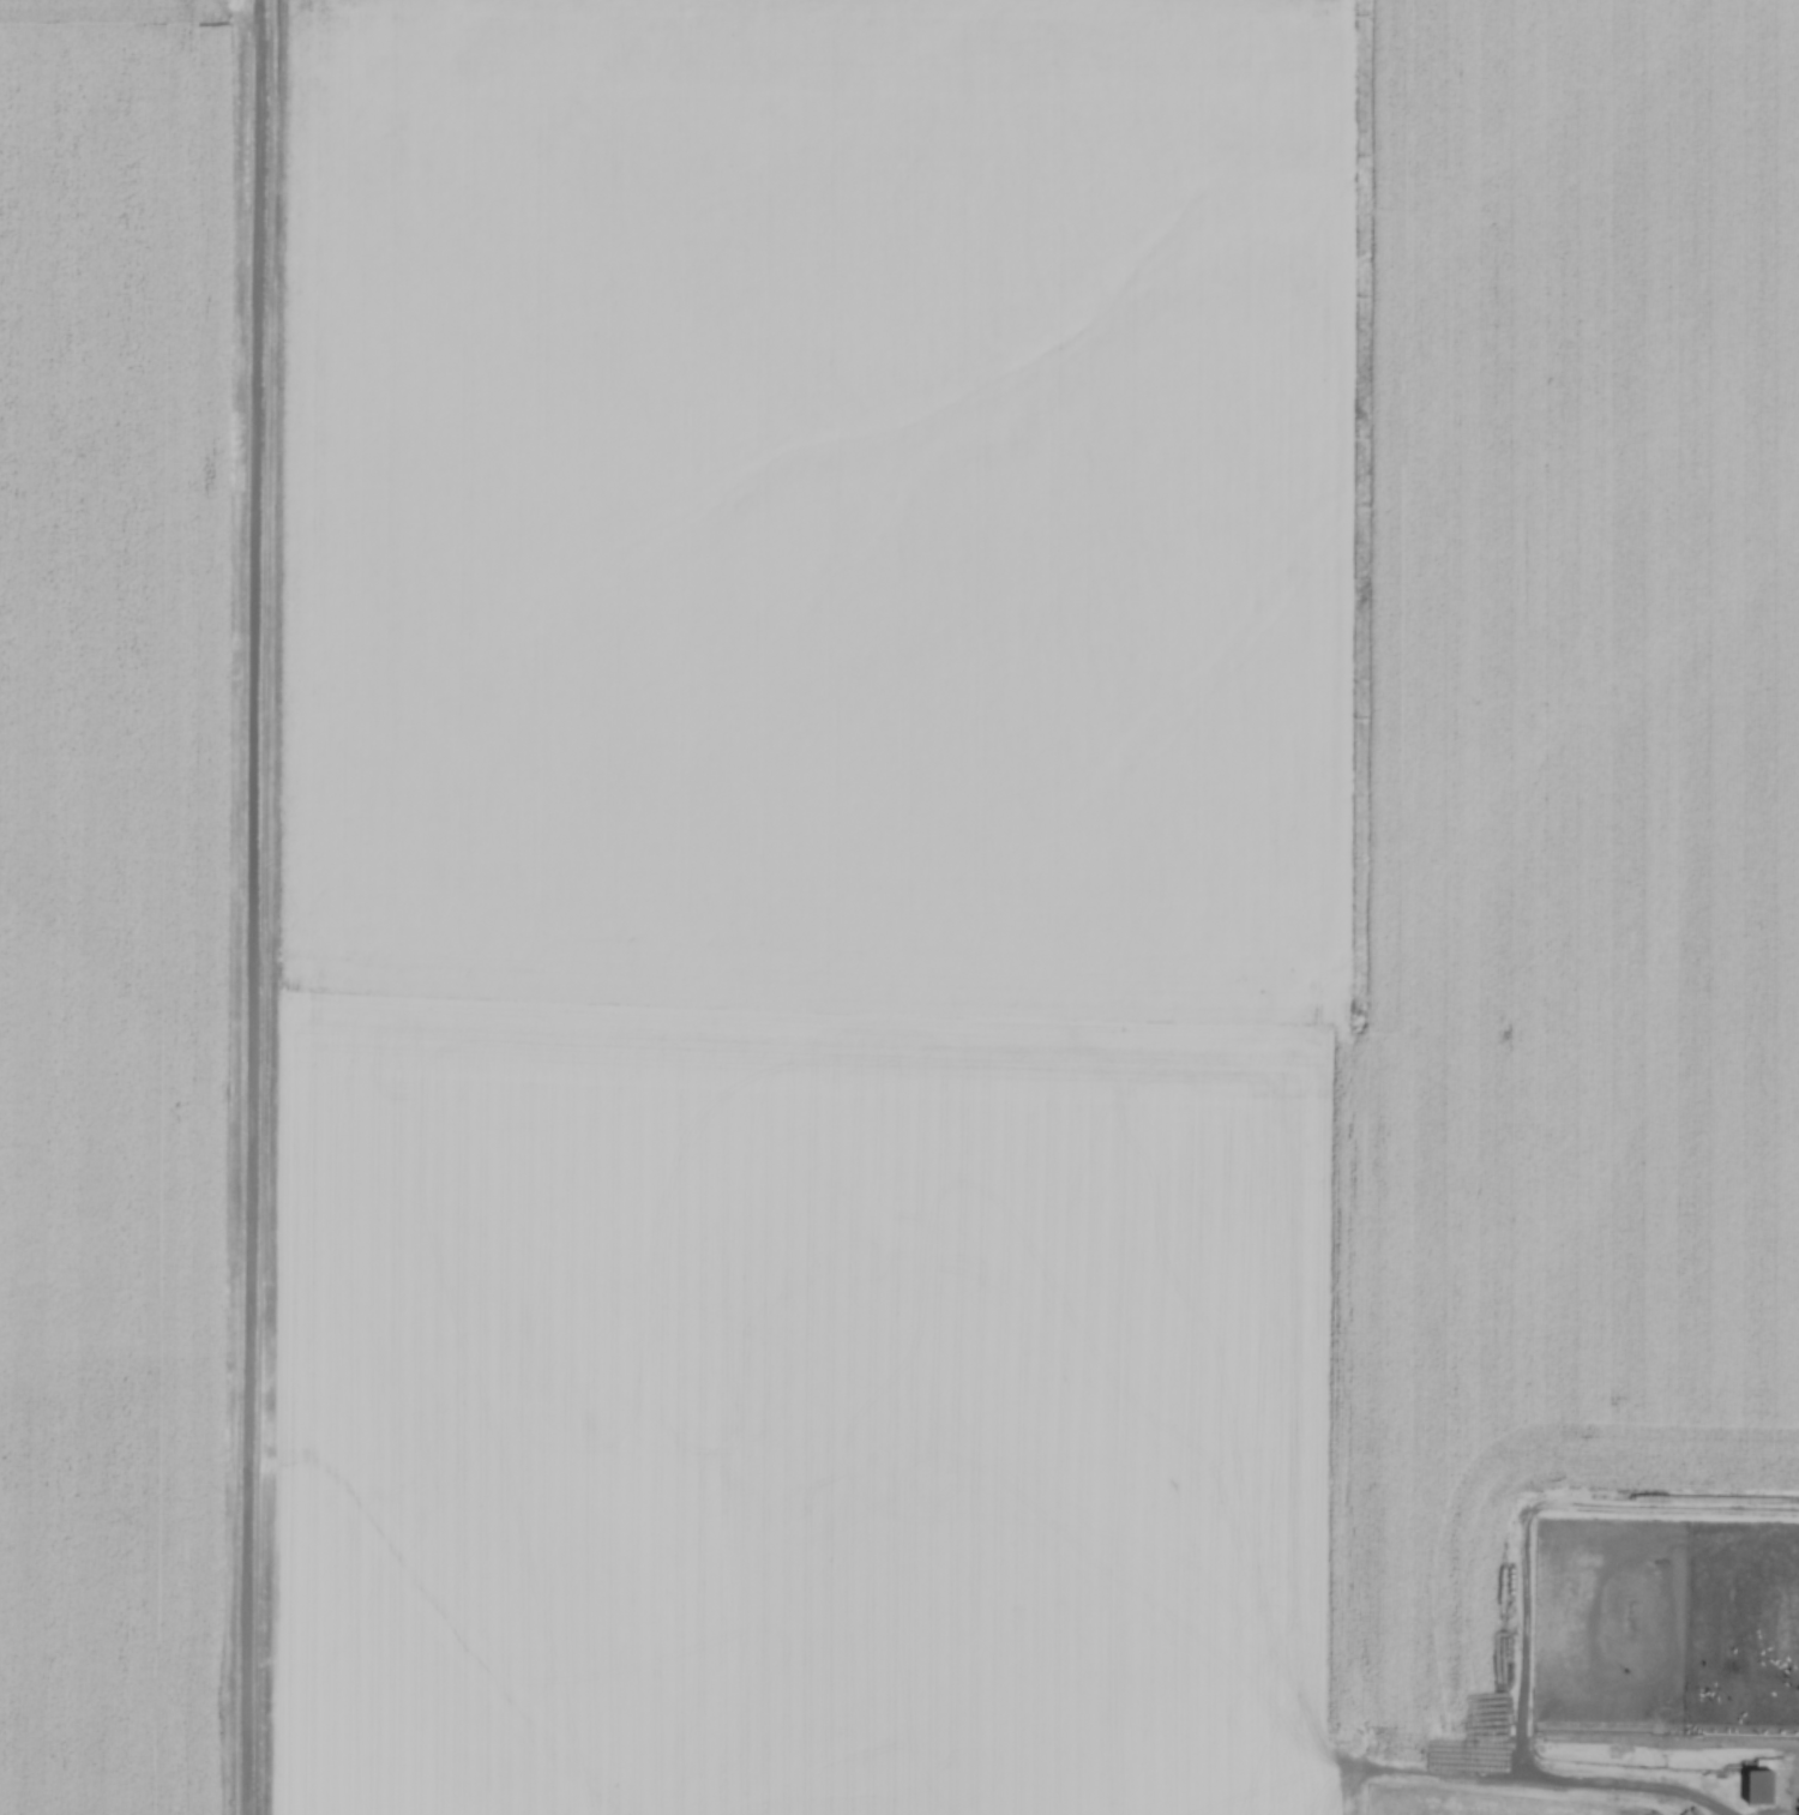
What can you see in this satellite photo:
road: (249, 907)
building: (1765, 1781)

